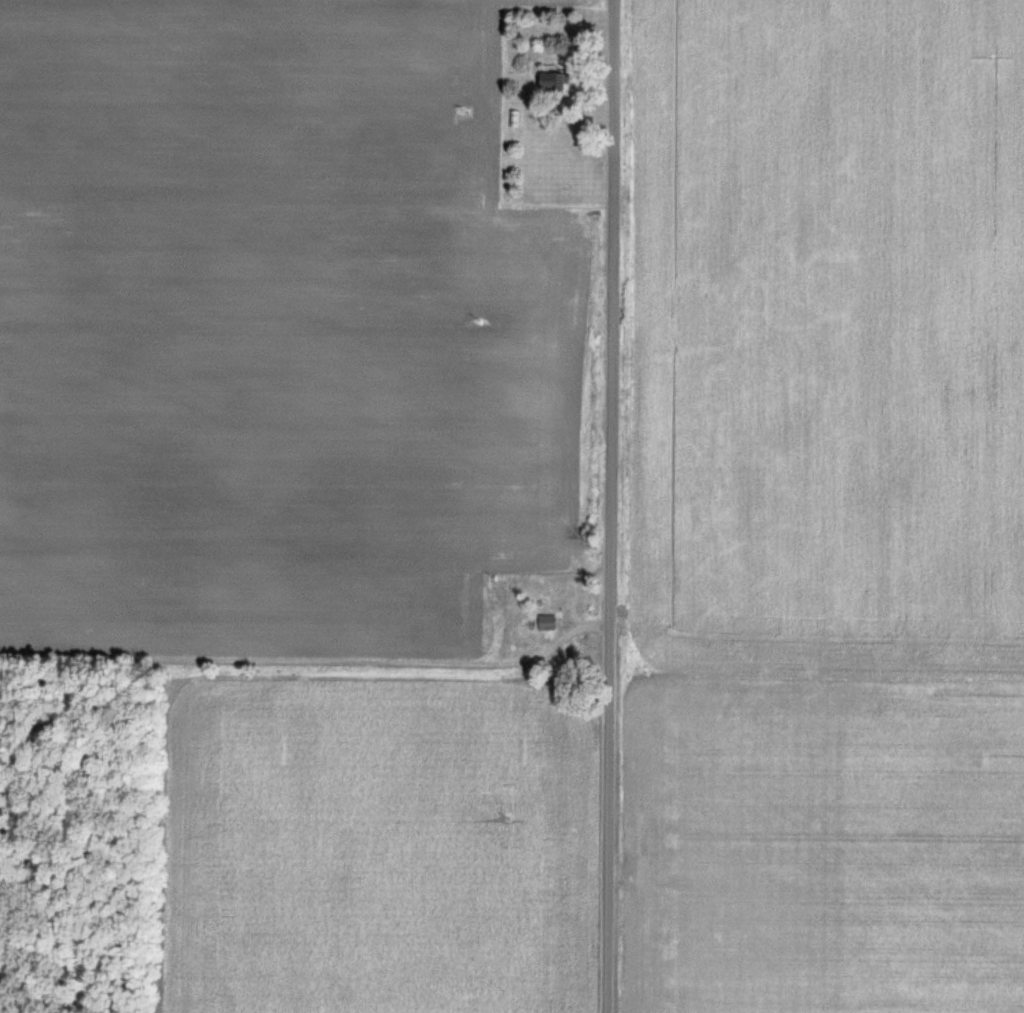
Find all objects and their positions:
building: (558, 81)
road: (609, 506)
building: (548, 622)

